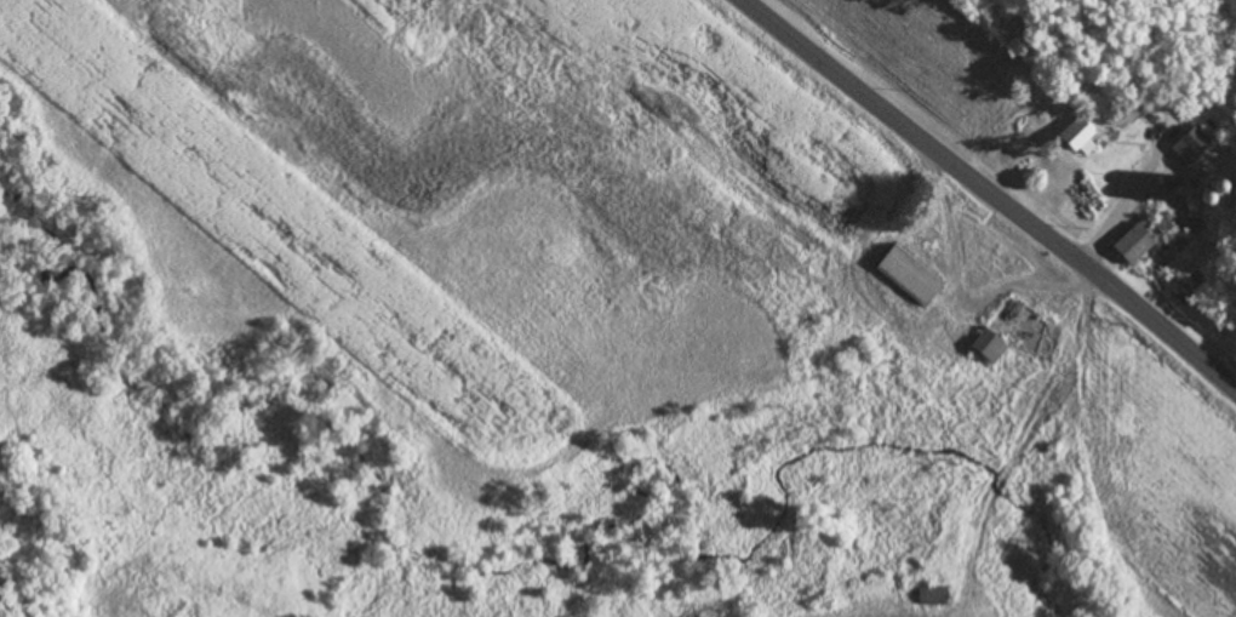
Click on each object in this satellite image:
building: (1069, 135)
road: (991, 192)
building: (1131, 244)
building: (906, 273)
building: (996, 330)

